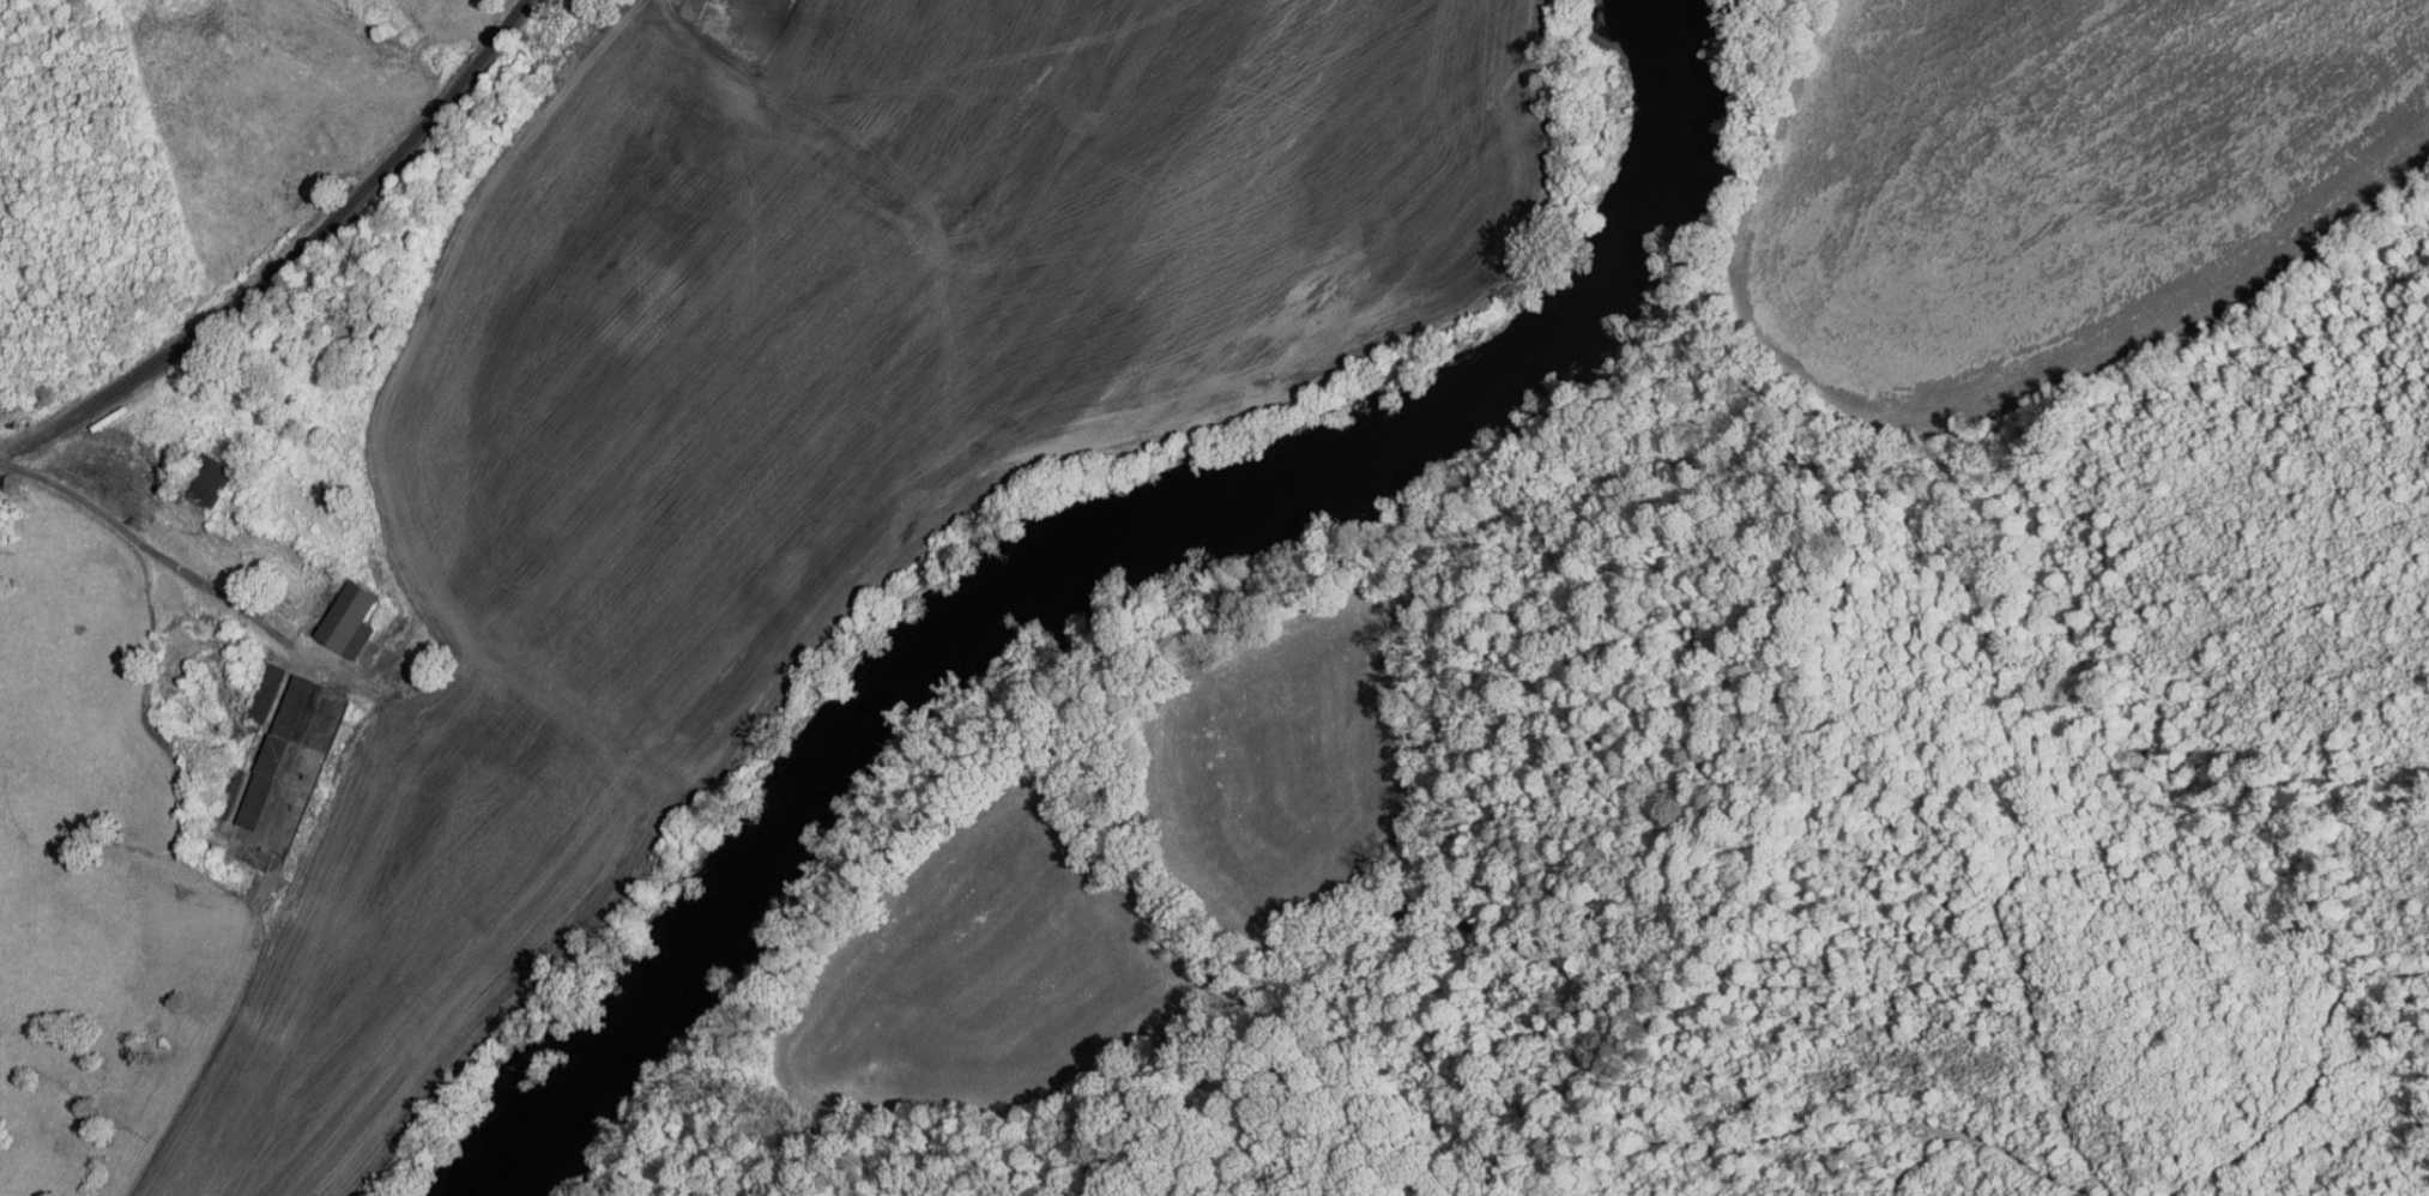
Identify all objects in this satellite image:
railway: (295, 265)
building: (200, 476)
road: (151, 540)
river: (1108, 562)
building: (340, 612)
building: (253, 757)

